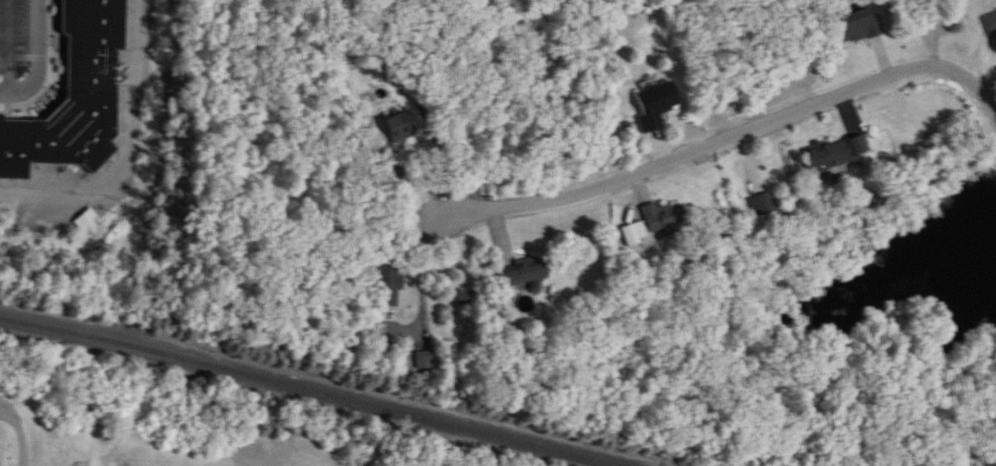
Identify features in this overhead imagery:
building: (990, 20)
building: (859, 28)
road: (38, 58)
road: (989, 87)
building: (77, 96)
building: (657, 105)
building: (399, 129)
road: (733, 138)
road: (128, 151)
building: (831, 157)
building: (764, 206)
building: (655, 224)
building: (524, 276)
building: (387, 285)
railway: (332, 383)
road: (21, 429)
park: (145, 438)

